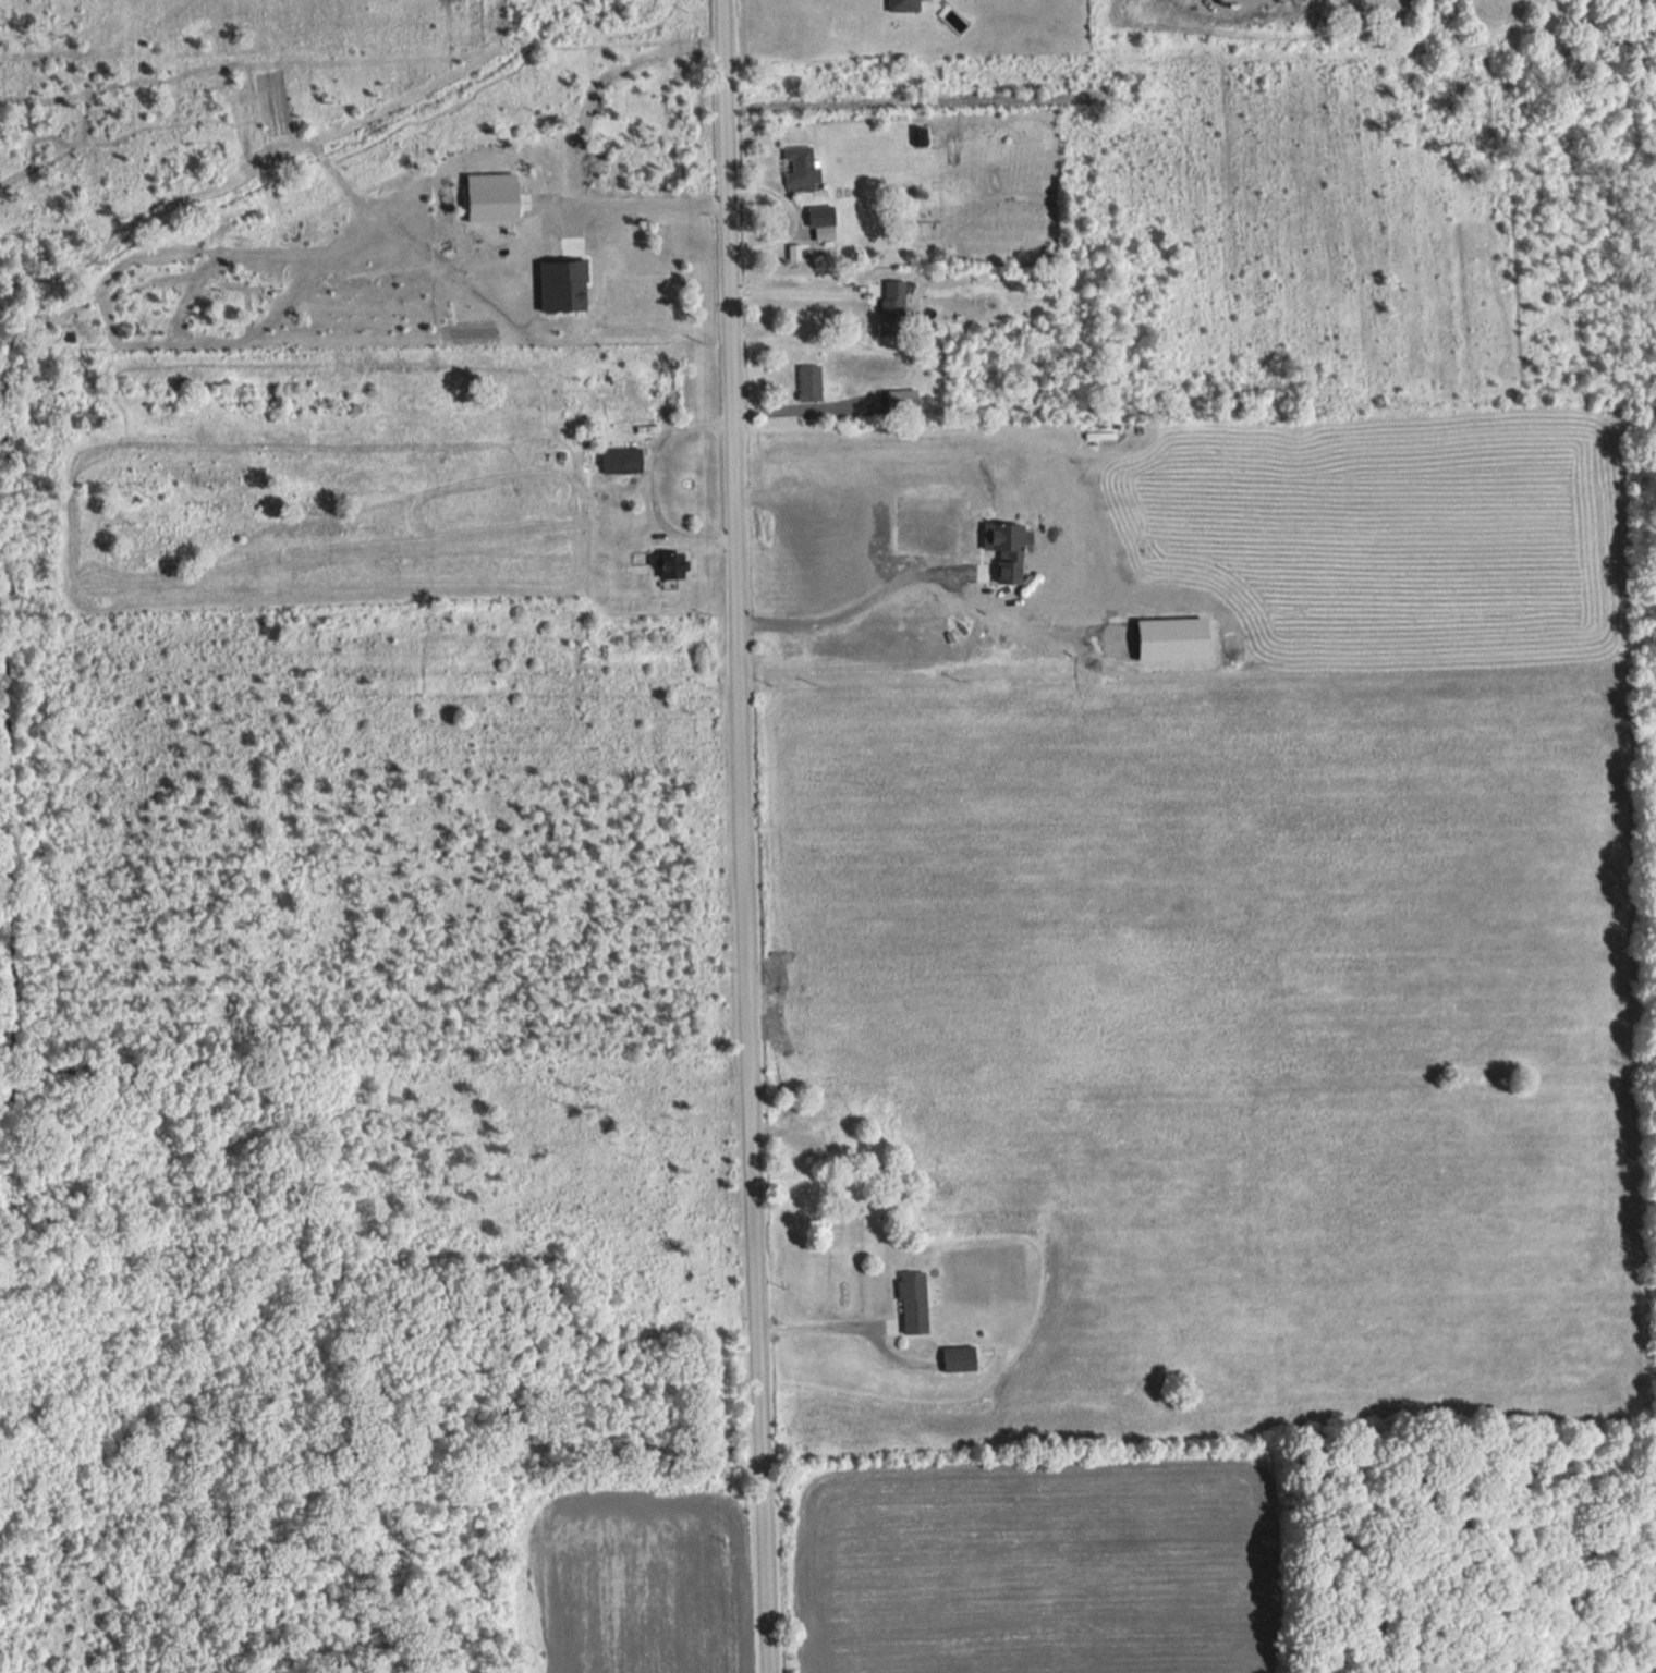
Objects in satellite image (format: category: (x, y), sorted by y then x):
building: (904, 5)
road: (595, 76)
building: (921, 136)
building: (801, 168)
building: (824, 222)
road: (329, 261)
road: (794, 288)
building: (892, 306)
building: (608, 383)
building: (811, 383)
building: (903, 400)
building: (622, 460)
road: (652, 483)
building: (673, 564)
road: (850, 611)
road: (740, 836)
building: (911, 1299)
road: (823, 1329)

